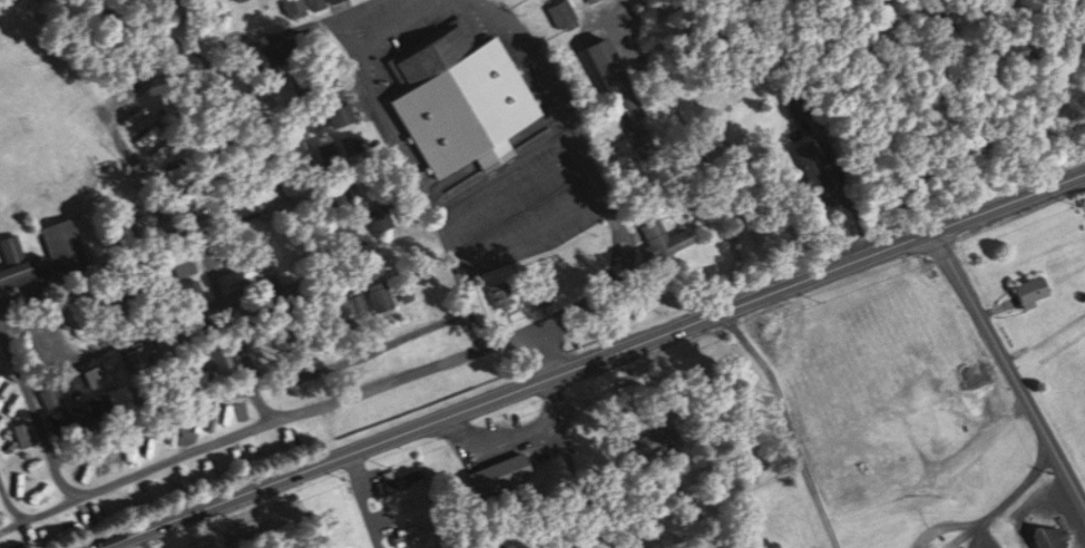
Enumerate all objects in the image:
building: (325, 0)
building: (313, 3)
road: (356, 6)
building: (291, 7)
building: (558, 11)
building: (599, 66)
building: (459, 99)
building: (339, 112)
park: (40, 130)
building: (348, 139)
building: (814, 169)
road: (429, 214)
building: (658, 236)
building: (60, 242)
building: (20, 271)
building: (401, 284)
building: (499, 290)
building: (1033, 291)
building: (378, 295)
road: (232, 327)
road: (500, 342)
road: (592, 355)
road: (1011, 366)
road: (37, 413)
road: (153, 420)
road: (789, 423)
building: (21, 432)
building: (658, 438)
building: (505, 468)
building: (407, 474)
road: (1010, 495)
road: (10, 499)
road: (364, 500)
building: (419, 502)
road: (40, 513)
road: (946, 522)
building: (419, 532)
building: (403, 534)
building: (1050, 537)
road: (126, 544)
building: (450, 547)

